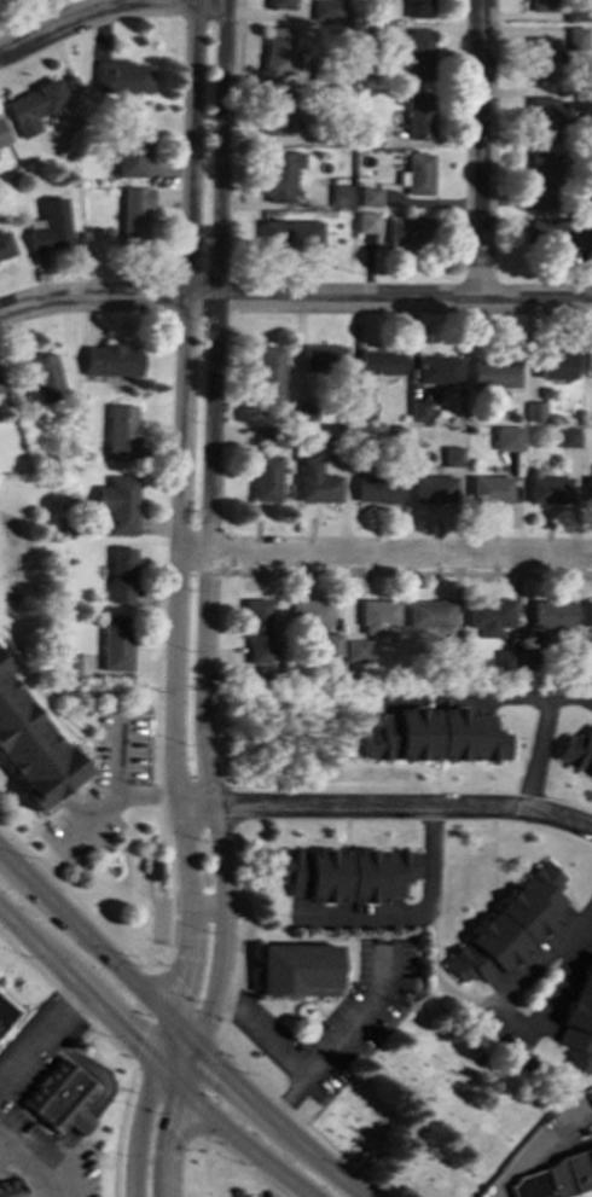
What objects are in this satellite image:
building: (279, 4)
building: (538, 5)
road: (109, 8)
building: (417, 8)
building: (325, 10)
building: (575, 12)
building: (574, 35)
building: (277, 50)
building: (414, 54)
building: (540, 58)
building: (121, 76)
building: (33, 106)
building: (274, 112)
building: (417, 115)
building: (541, 118)
building: (365, 134)
building: (2, 135)
building: (130, 145)
road: (478, 150)
building: (414, 174)
building: (278, 175)
building: (540, 179)
building: (337, 196)
building: (365, 196)
building: (133, 214)
building: (364, 221)
building: (47, 225)
building: (406, 229)
building: (557, 232)
building: (289, 233)
building: (5, 244)
road: (295, 298)
building: (321, 358)
building: (111, 359)
building: (378, 361)
building: (588, 362)
building: (556, 364)
building: (436, 368)
building: (492, 372)
building: (268, 374)
building: (37, 376)
building: (0, 389)
building: (361, 406)
building: (303, 409)
building: (418, 409)
building: (534, 411)
building: (121, 431)
building: (266, 435)
building: (567, 436)
building: (506, 437)
building: (451, 455)
building: (265, 477)
building: (313, 481)
building: (373, 488)
building: (431, 488)
building: (488, 488)
building: (547, 489)
building: (587, 489)
building: (118, 504)
road: (180, 511)
road: (209, 528)
road: (384, 553)
building: (121, 574)
building: (308, 611)
building: (550, 612)
building: (587, 612)
building: (375, 614)
building: (428, 614)
building: (487, 615)
building: (255, 631)
building: (115, 643)
building: (330, 643)
building: (354, 650)
building: (528, 652)
building: (505, 658)
building: (0, 659)
building: (69, 663)
building: (434, 736)
building: (30, 748)
building: (576, 751)
road: (111, 784)
road: (385, 808)
building: (152, 868)
building: (344, 873)
road: (411, 916)
road: (580, 919)
road: (168, 922)
building: (509, 925)
road: (239, 926)
road: (157, 968)
building: (297, 969)
road: (66, 999)
building: (5, 1012)
traffic signals: (170, 1021)
building: (579, 1021)
road: (513, 1024)
road: (176, 1027)
road: (39, 1033)
road: (257, 1035)
road: (336, 1036)
traffic signals: (201, 1052)
road: (150, 1061)
traffic signals: (156, 1067)
traffic signals: (190, 1099)
building: (60, 1100)
road: (144, 1106)
park: (425, 1109)
road: (301, 1118)
road: (181, 1123)
road: (118, 1128)
road: (0, 1134)
road: (534, 1143)
road: (238, 1163)
road: (24, 1172)
building: (552, 1175)
building: (10, 1189)
road: (307, 1196)

